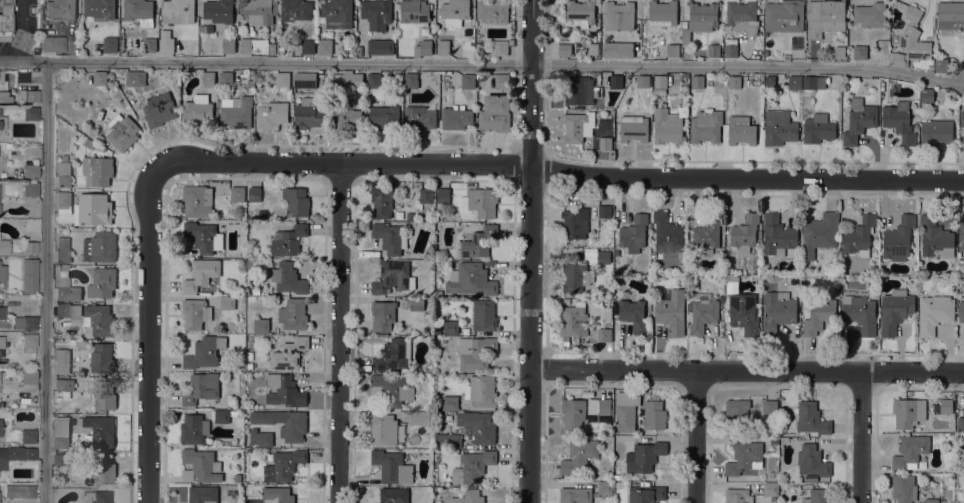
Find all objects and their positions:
building: (60, 9)
building: (100, 9)
building: (260, 9)
building: (296, 10)
building: (139, 11)
building: (178, 11)
building: (219, 11)
building: (493, 11)
building: (415, 12)
building: (455, 12)
building: (337, 13)
building: (377, 13)
building: (581, 13)
building: (662, 13)
building: (870, 14)
building: (784, 15)
building: (619, 16)
building: (743, 17)
building: (825, 17)
building: (950, 17)
building: (700, 19)
building: (5, 20)
gas station: (5, 20)
building: (910, 41)
building: (52, 44)
building: (110, 44)
building: (167, 44)
building: (150, 45)
building: (229, 45)
building: (256, 46)
building: (303, 46)
building: (325, 46)
building: (381, 46)
building: (425, 47)
building: (443, 47)
building: (672, 47)
building: (731, 47)
building: (501, 48)
building: (592, 48)
building: (618, 49)
building: (564, 50)
building: (713, 50)
building: (359, 51)
building: (840, 51)
building: (860, 52)
building: (786, 57)
road: (482, 64)
building: (941, 65)
building: (685, 75)
building: (22, 78)
building: (100, 78)
building: (136, 78)
building: (209, 78)
building: (226, 79)
building: (283, 79)
building: (305, 80)
building: (348, 80)
building: (374, 80)
building: (410, 80)
building: (467, 81)
building: (501, 81)
building: (616, 81)
building: (643, 81)
building: (660, 81)
building: (697, 81)
building: (734, 81)
building: (795, 82)
building: (814, 82)
building: (250, 83)
building: (3, 88)
building: (580, 90)
building: (26, 95)
building: (927, 96)
building: (197, 108)
building: (159, 109)
building: (236, 112)
building: (30, 113)
building: (308, 113)
building: (495, 113)
building: (271, 114)
building: (384, 114)
building: (961, 115)
building: (345, 117)
building: (420, 117)
building: (456, 118)
building: (859, 120)
building: (899, 121)
building: (2, 122)
building: (706, 125)
building: (578, 126)
building: (667, 126)
building: (779, 127)
building: (633, 128)
building: (818, 128)
building: (741, 130)
building: (122, 131)
building: (936, 132)
building: (99, 138)
building: (89, 143)
building: (605, 143)
building: (100, 147)
building: (97, 170)
building: (30, 172)
building: (63, 172)
road: (566, 173)
building: (30, 189)
building: (237, 193)
building: (254, 195)
building: (426, 195)
building: (443, 195)
building: (197, 201)
building: (296, 201)
building: (383, 201)
building: (483, 201)
building: (63, 202)
building: (92, 209)
building: (604, 211)
building: (261, 213)
building: (409, 215)
building: (575, 223)
building: (745, 232)
building: (634, 233)
building: (666, 233)
building: (819, 233)
building: (961, 233)
building: (708, 234)
building: (759, 234)
building: (777, 235)
building: (859, 236)
building: (204, 237)
building: (936, 237)
building: (390, 238)
building: (898, 239)
building: (288, 240)
building: (477, 241)
building: (4, 247)
building: (30, 247)
building: (100, 247)
building: (63, 251)
road: (529, 251)
building: (604, 255)
building: (251, 263)
building: (63, 267)
building: (2, 272)
building: (201, 274)
building: (29, 276)
building: (576, 276)
building: (393, 277)
building: (289, 278)
building: (471, 279)
road: (45, 282)
building: (102, 282)
building: (66, 289)
building: (438, 293)
building: (242, 299)
building: (227, 303)
building: (417, 304)
building: (67, 310)
building: (895, 310)
building: (672, 311)
building: (778, 311)
building: (961, 311)
building: (702, 312)
building: (2, 313)
building: (195, 313)
building: (744, 313)
building: (860, 313)
building: (934, 313)
building: (293, 314)
building: (383, 315)
building: (484, 315)
building: (633, 315)
building: (819, 316)
building: (99, 319)
building: (574, 319)
building: (25, 322)
road: (150, 326)
building: (261, 326)
building: (451, 327)
building: (437, 329)
road: (338, 333)
building: (603, 334)
building: (29, 340)
building: (1, 342)
building: (204, 352)
building: (476, 352)
building: (289, 354)
building: (393, 354)
building: (249, 356)
building: (102, 358)
building: (62, 360)
building: (249, 365)
road: (746, 370)
building: (28, 377)
building: (62, 385)
building: (201, 388)
building: (390, 390)
building: (481, 390)
building: (284, 391)
building: (104, 396)
building: (450, 403)
building: (947, 403)
building: (599, 406)
building: (770, 407)
building: (621, 408)
building: (908, 411)
building: (233, 412)
building: (573, 412)
building: (737, 414)
building: (654, 415)
building: (221, 416)
building: (419, 417)
building: (812, 418)
building: (960, 423)
building: (478, 426)
building: (0, 427)
building: (193, 429)
building: (293, 429)
building: (383, 429)
building: (99, 431)
building: (61, 432)
building: (401, 433)
building: (28, 436)
road: (696, 436)
building: (261, 437)
road: (862, 437)
building: (448, 440)
building: (774, 440)
building: (910, 451)
building: (16, 455)
building: (579, 456)
building: (437, 457)
building: (644, 457)
building: (745, 457)
building: (61, 458)
building: (813, 461)
building: (201, 465)
building: (282, 465)
building: (961, 465)
building: (392, 466)
building: (472, 466)
building: (101, 470)
building: (751, 478)
building: (603, 488)
building: (904, 488)
building: (9, 490)
building: (771, 490)
building: (27, 491)
building: (647, 493)
building: (203, 494)
building: (277, 495)
building: (394, 495)
building: (576, 495)
building: (738, 495)
building: (472, 496)
building: (817, 496)
building: (97, 497)
building: (931, 500)

